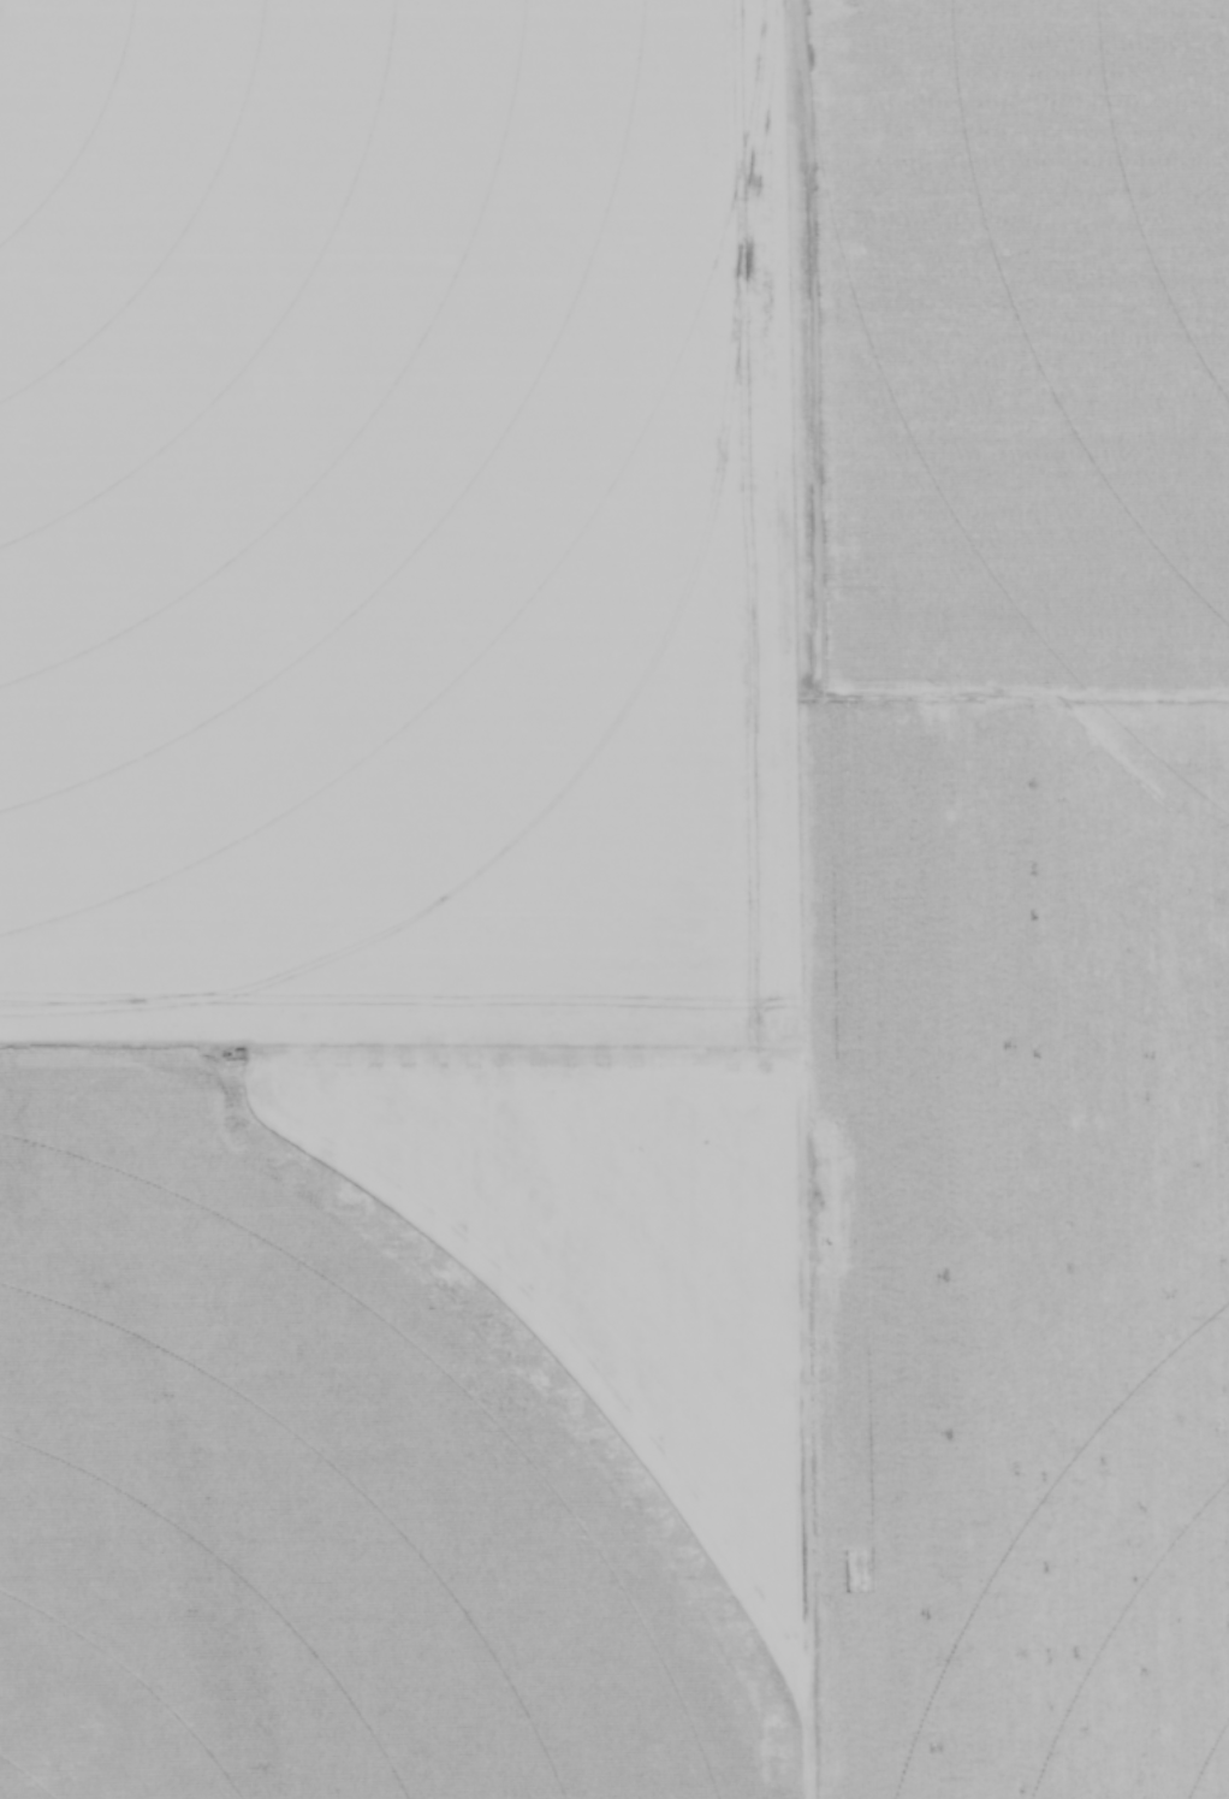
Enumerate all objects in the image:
crop: (614, 899)

